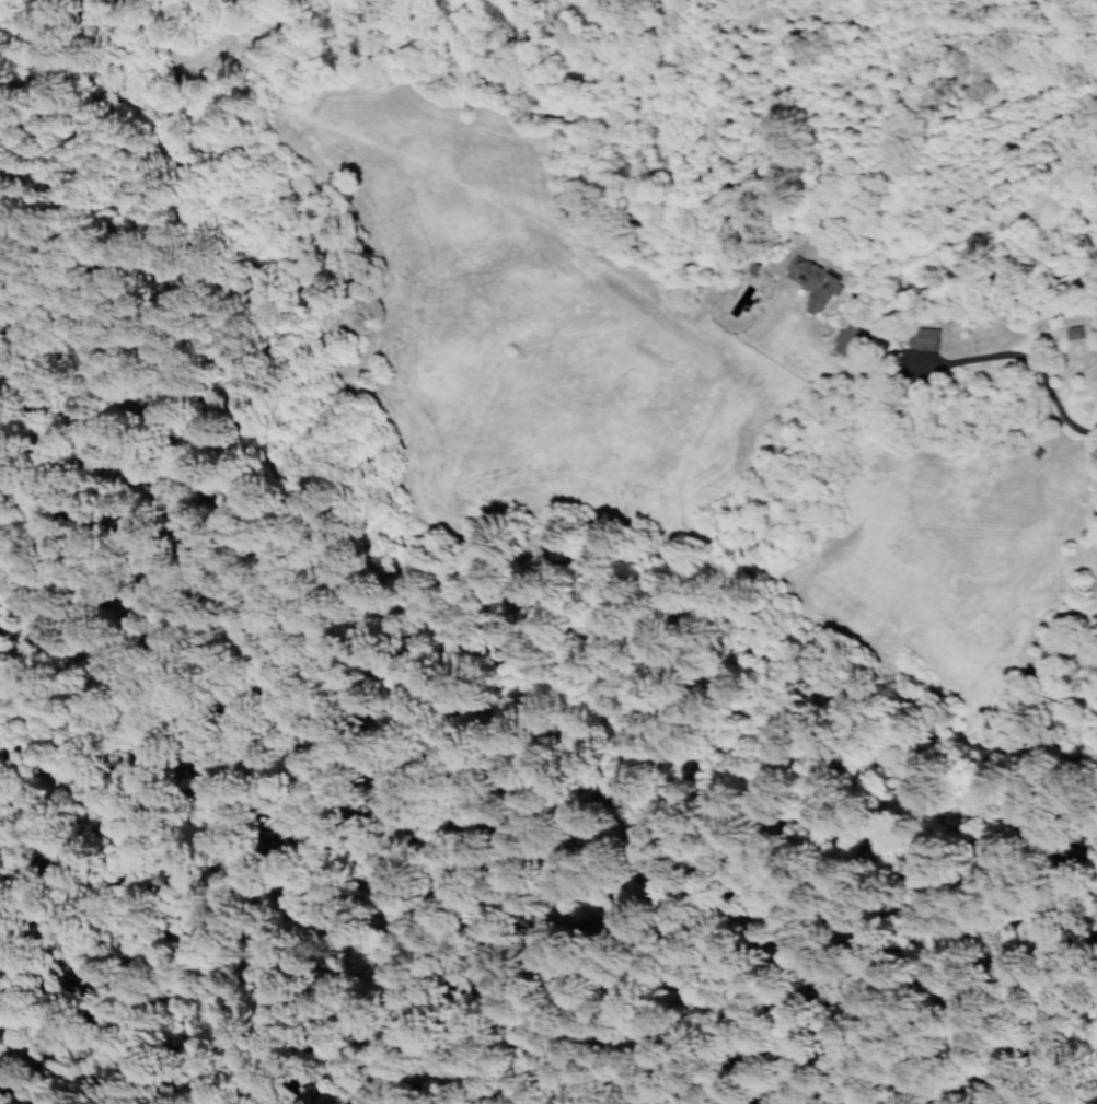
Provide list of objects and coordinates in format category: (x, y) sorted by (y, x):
building: (813, 283)
building: (1073, 333)
building: (845, 339)
building: (926, 339)
road: (1027, 359)
road: (557, 790)
road: (1008, 840)

